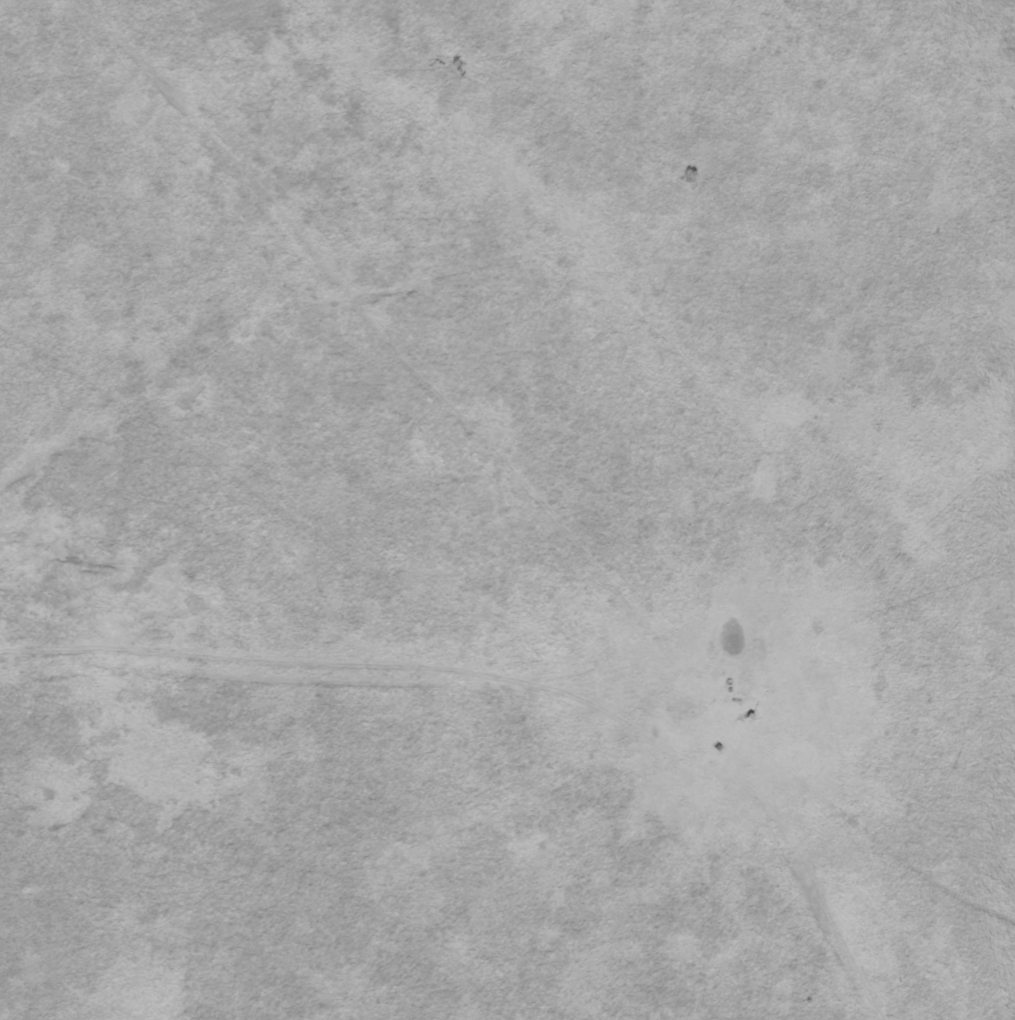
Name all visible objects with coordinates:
road: (797, 895)

